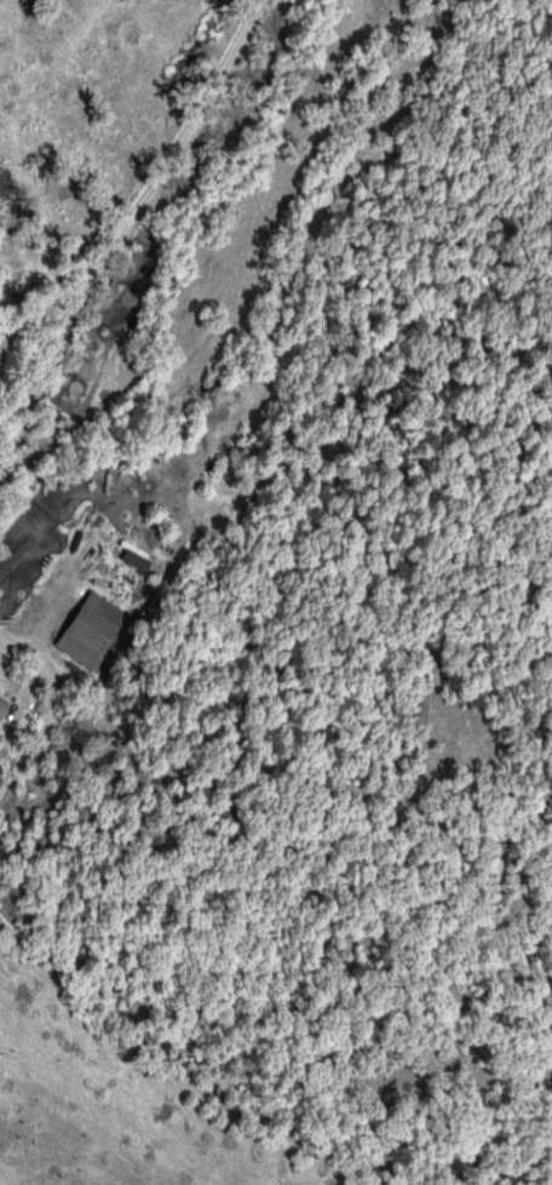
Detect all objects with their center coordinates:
road: (126, 228)
building: (97, 628)
road: (61, 721)
road: (252, 1126)
road: (420, 1162)

